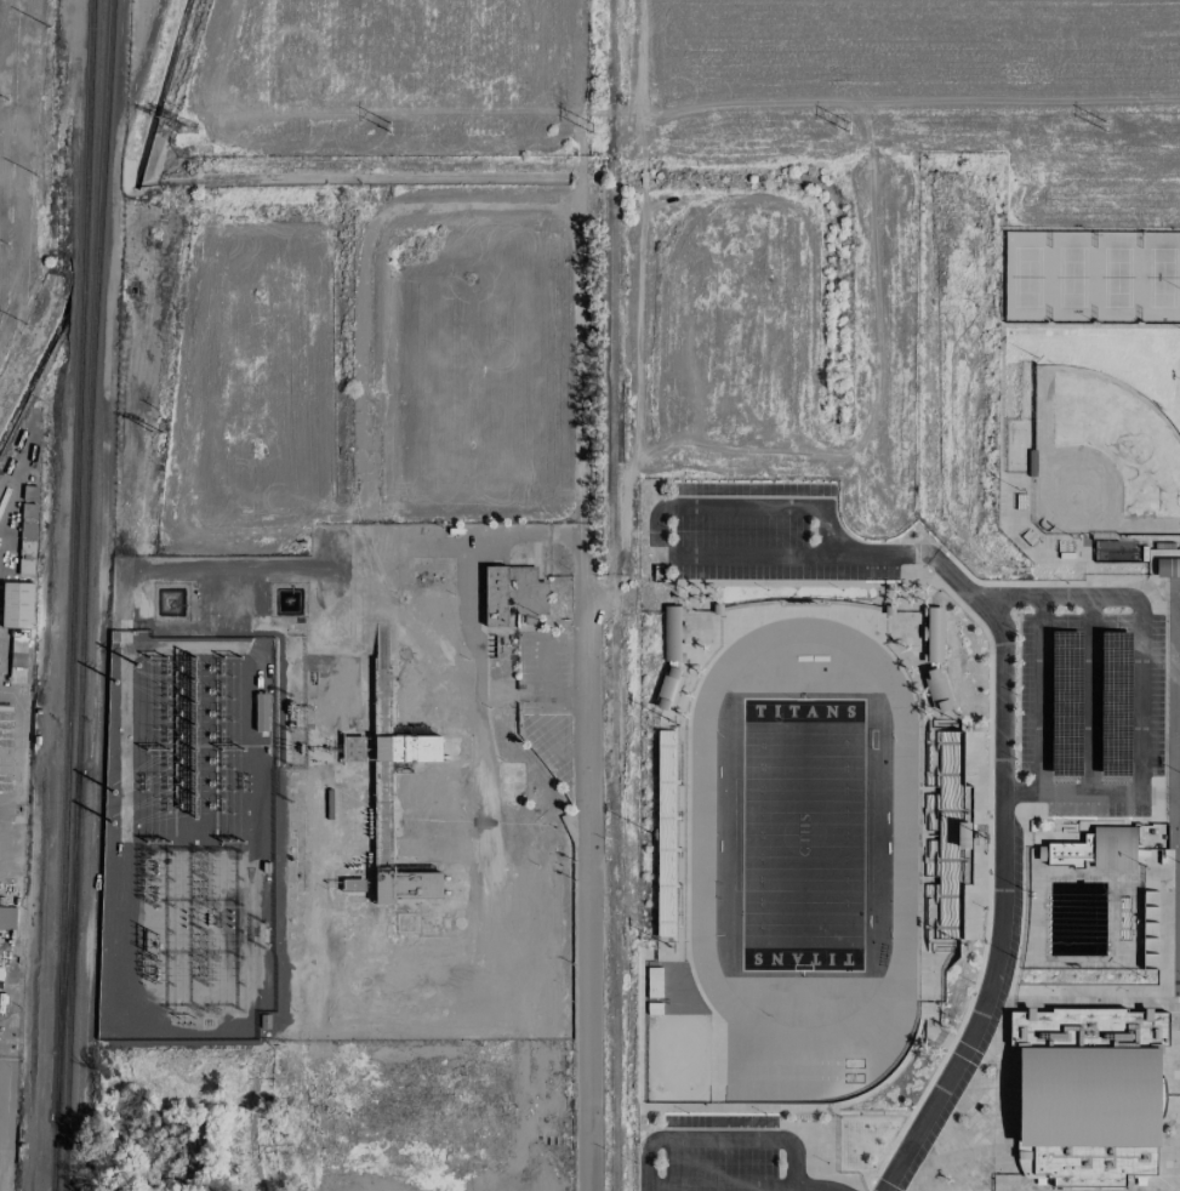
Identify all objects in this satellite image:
railway: (106, 99)
road: (578, 252)
railway: (97, 273)
road: (737, 506)
building: (27, 530)
road: (796, 557)
railway: (74, 558)
railway: (86, 559)
building: (1168, 568)
building: (511, 594)
road: (612, 602)
building: (17, 605)
road: (466, 605)
road: (1141, 615)
building: (671, 633)
building: (933, 636)
building: (667, 689)
building: (936, 690)
building: (5, 748)
building: (406, 748)
building: (352, 754)
road: (1073, 794)
building: (666, 834)
park: (803, 836)
power substation: (187, 839)
road: (582, 847)
building: (1096, 849)
road: (999, 866)
railway: (614, 877)
building: (352, 885)
building: (404, 885)
railway: (67, 945)
railway: (72, 981)
building: (1087, 1094)
road: (729, 1136)
railway: (53, 1155)
road: (789, 1187)

